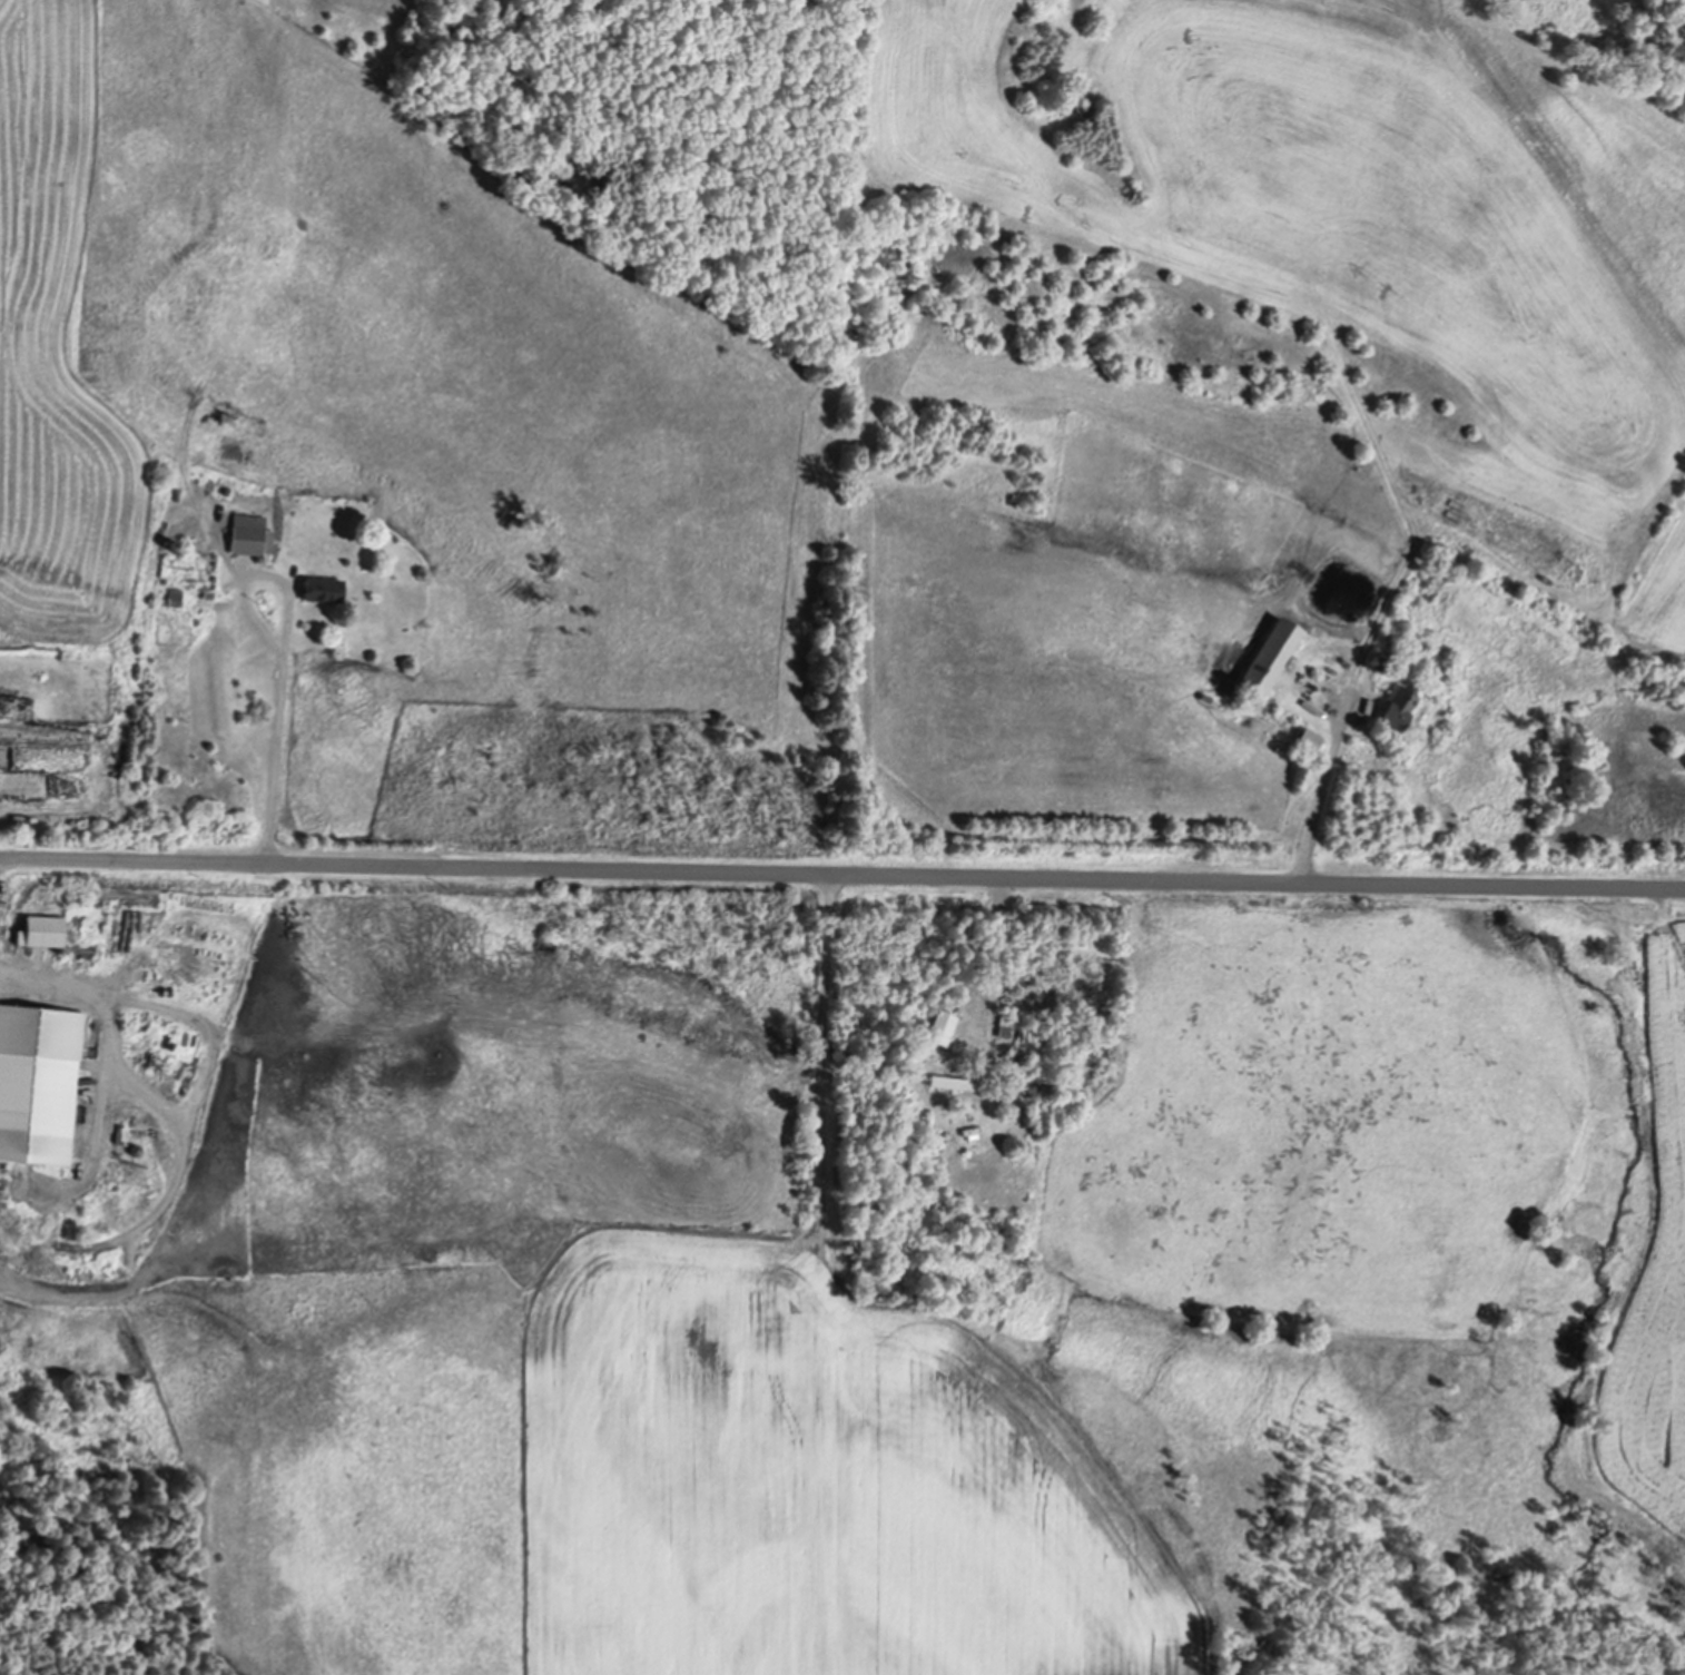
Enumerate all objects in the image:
building: (1131, 187)
building: (1350, 405)
building: (1357, 437)
building: (177, 491)
building: (252, 532)
building: (1450, 541)
building: (176, 543)
building: (326, 589)
building: (210, 594)
building: (175, 595)
road: (288, 653)
building: (1272, 653)
building: (1383, 661)
building: (1399, 705)
building: (1309, 738)
road: (1321, 792)
road: (841, 870)
building: (47, 928)
building: (1009, 1021)
building: (942, 1024)
building: (1024, 1063)
building: (957, 1078)
building: (40, 1080)
building: (137, 1146)

